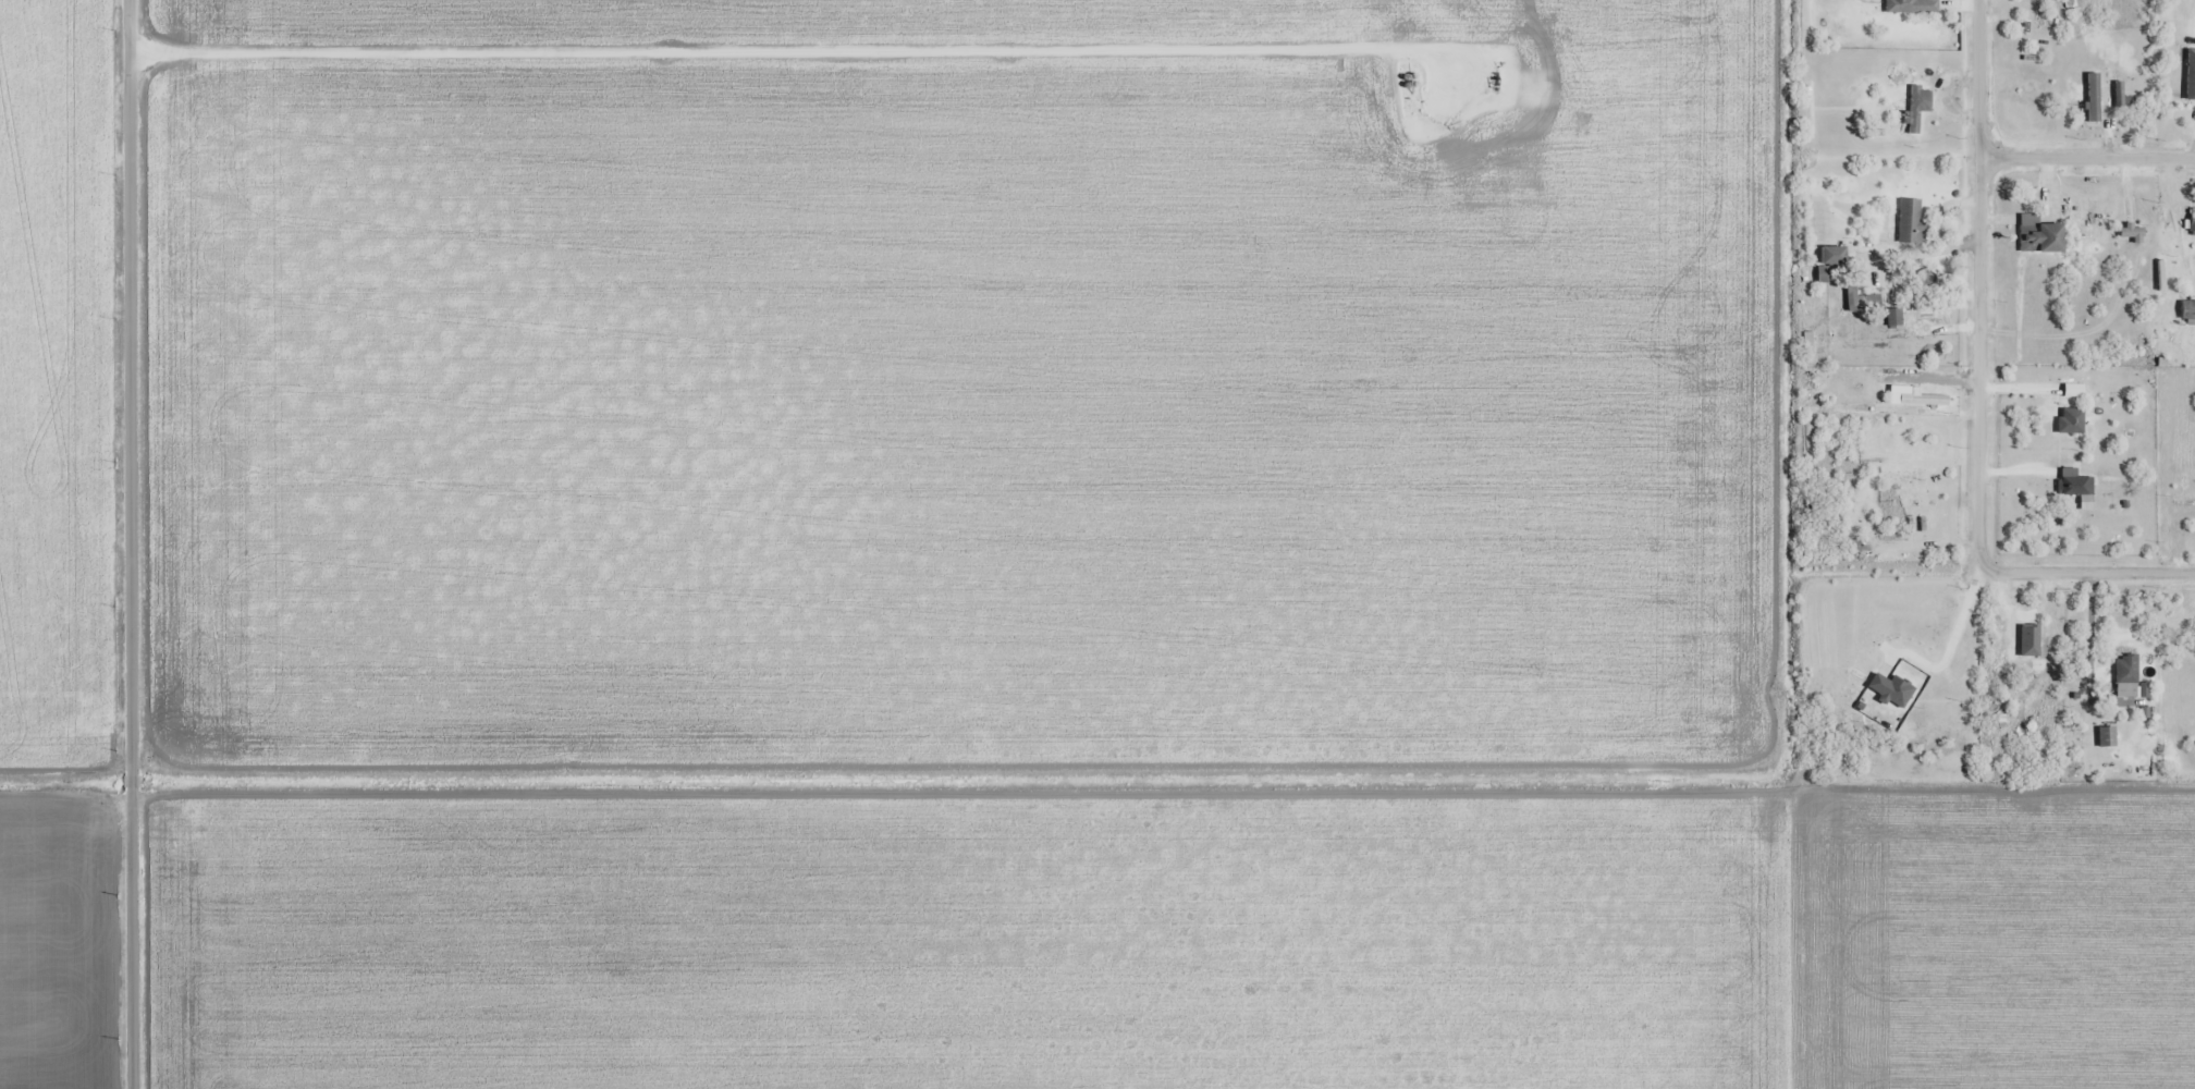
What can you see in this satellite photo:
building: (1911, 7)
building: (2191, 81)
building: (2094, 97)
building: (1917, 107)
road: (2087, 157)
building: (2192, 220)
building: (1911, 222)
building: (2039, 235)
road: (1978, 285)
building: (1866, 301)
building: (2188, 311)
building: (2074, 391)
building: (2071, 420)
building: (2076, 487)
road: (131, 544)
building: (1857, 547)
road: (2089, 572)
building: (2032, 637)
building: (2126, 676)
building: (2107, 737)

